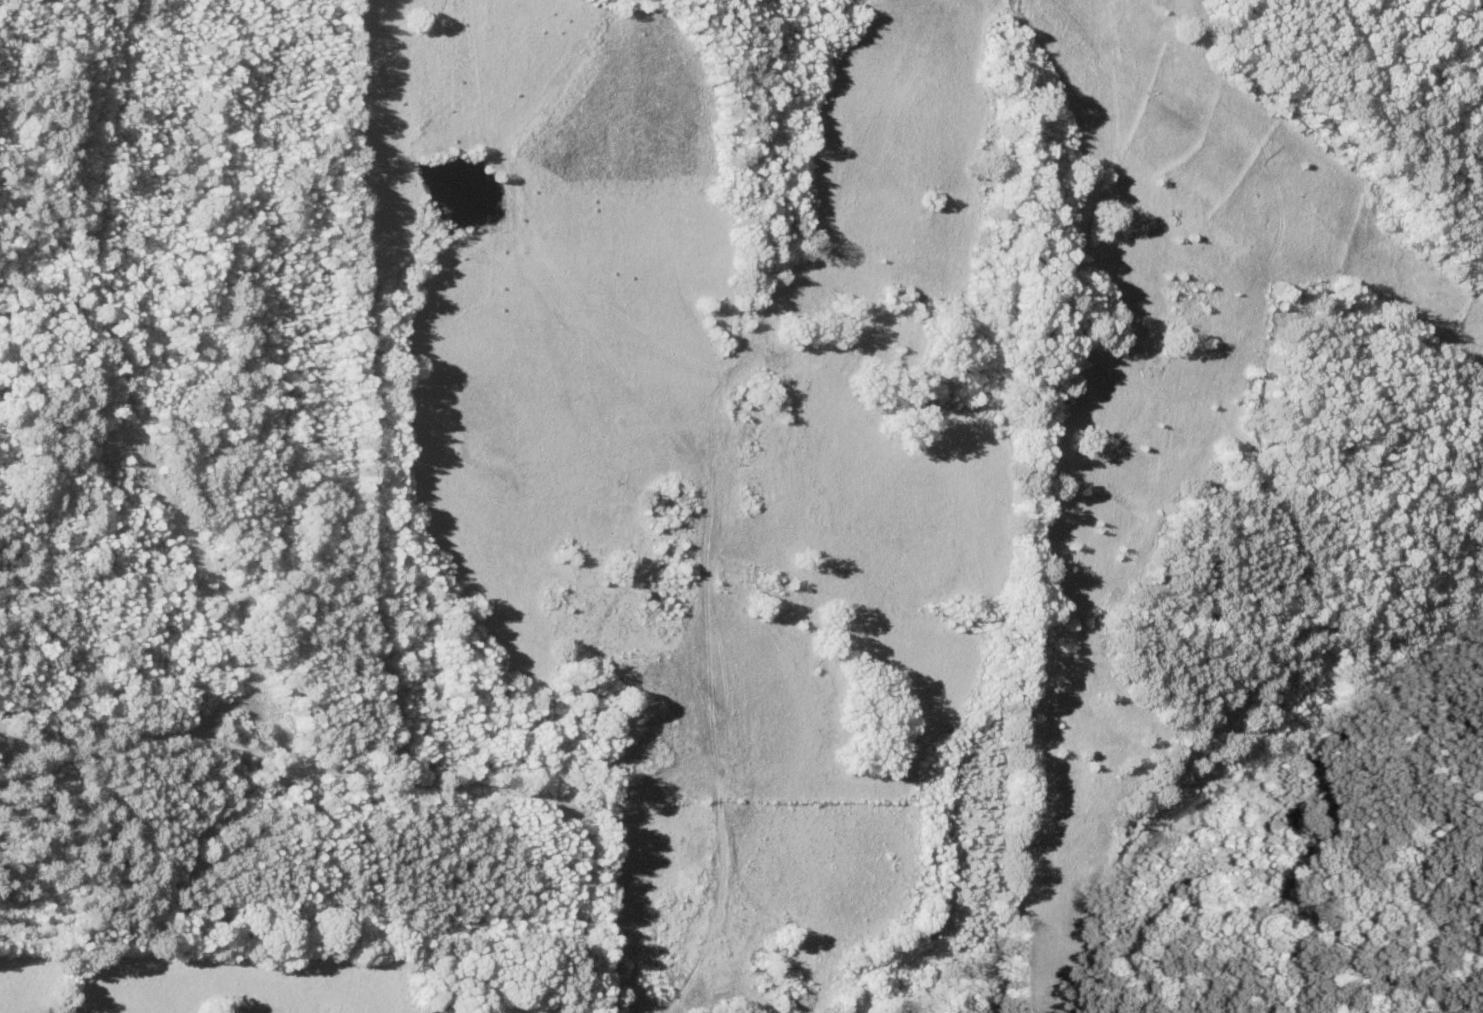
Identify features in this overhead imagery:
road: (638, 883)

